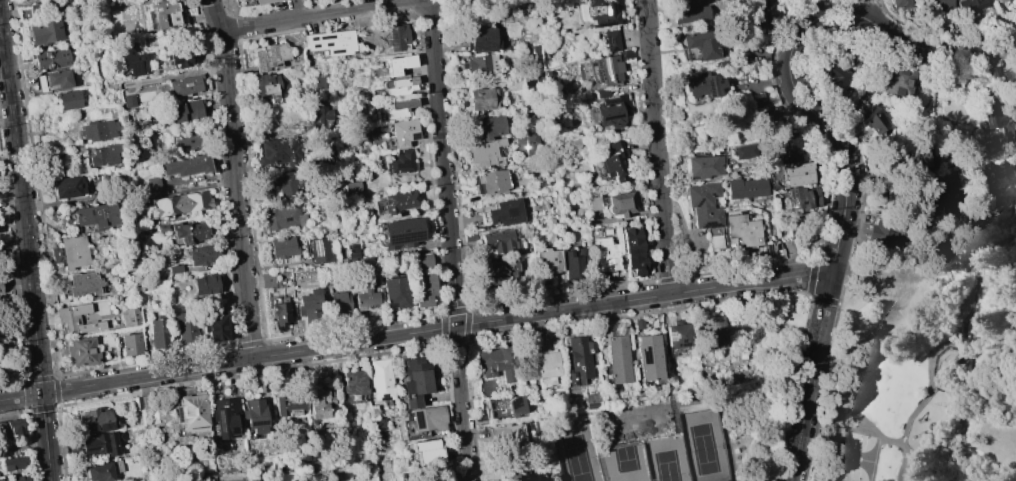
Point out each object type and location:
building: (998, 0)
rooftop solar panel: (588, 1)
building: (264, 2)
road: (434, 3)
building: (900, 4)
building: (938, 5)
building: (968, 6)
building: (38, 8)
road: (466, 10)
building: (688, 10)
road: (872, 10)
building: (600, 13)
road: (794, 13)
building: (163, 14)
building: (767, 14)
road: (216, 16)
road: (324, 16)
rooftop solar panel: (591, 22)
rooftop solar panel: (603, 25)
road: (433, 29)
building: (44, 31)
building: (398, 36)
rooftop solar panel: (311, 38)
rooftop solar panel: (324, 38)
building: (483, 39)
rooftop solar panel: (395, 40)
building: (611, 40)
building: (331, 42)
building: (700, 44)
rooftop solar panel: (316, 46)
rooftop solar panel: (336, 52)
building: (625, 55)
building: (271, 56)
building: (533, 56)
building: (178, 58)
building: (51, 59)
building: (134, 61)
rooftop solar panel: (598, 63)
building: (398, 64)
building: (482, 64)
rooftop solar panel: (605, 67)
rooftop solar panel: (136, 69)
building: (607, 70)
building: (834, 75)
rooftop solar panel: (599, 76)
rooftop solar panel: (608, 77)
building: (1009, 79)
building: (54, 80)
building: (322, 81)
building: (895, 84)
building: (185, 85)
building: (270, 85)
building: (701, 85)
building: (401, 86)
rooftop solar panel: (709, 90)
building: (601, 93)
building: (481, 99)
building: (67, 100)
building: (128, 101)
building: (396, 109)
rooftop solar panel: (994, 110)
building: (184, 111)
building: (610, 112)
building: (322, 114)
building: (871, 117)
rooftop solar panel: (610, 118)
rooftop solar panel: (986, 119)
building: (995, 119)
building: (488, 127)
building: (99, 130)
building: (403, 133)
road: (832, 135)
building: (184, 142)
building: (528, 143)
road: (657, 146)
building: (785, 148)
building: (280, 151)
building: (485, 154)
building: (105, 155)
building: (920, 158)
building: (401, 162)
building: (613, 163)
building: (186, 165)
building: (703, 166)
building: (977, 166)
building: (796, 174)
building: (493, 182)
building: (289, 183)
building: (154, 184)
building: (67, 187)
building: (746, 187)
road: (237, 195)
rooftop solar panel: (712, 195)
rooftop solar panel: (789, 195)
building: (800, 198)
building: (396, 202)
building: (181, 203)
building: (595, 203)
building: (622, 203)
rooftop solar panel: (698, 203)
rooftop solar panel: (801, 203)
building: (137, 204)
building: (703, 204)
rooftop solar panel: (792, 204)
building: (925, 207)
building: (504, 213)
building: (97, 215)
building: (284, 217)
rooftop solar panel: (709, 225)
building: (162, 227)
building: (743, 229)
building: (190, 232)
building: (401, 233)
building: (881, 234)
building: (469, 237)
rooftop solar panel: (400, 240)
building: (499, 241)
building: (283, 247)
road: (990, 247)
road: (26, 248)
rooftop solar panel: (318, 249)
building: (319, 250)
building: (632, 250)
building: (352, 251)
building: (73, 252)
building: (604, 254)
road: (969, 254)
building: (202, 255)
building: (423, 261)
building: (547, 261)
road: (1004, 263)
building: (570, 264)
road: (757, 264)
road: (453, 266)
building: (175, 269)
road: (892, 269)
building: (497, 272)
road: (811, 274)
road: (667, 277)
building: (267, 281)
building: (84, 283)
building: (206, 284)
building: (422, 288)
building: (0, 290)
building: (395, 291)
road: (561, 293)
building: (364, 299)
road: (823, 299)
building: (339, 303)
road: (885, 305)
road: (975, 305)
building: (310, 306)
road: (455, 309)
road: (659, 309)
building: (280, 313)
building: (129, 316)
building: (76, 319)
road: (781, 319)
road: (467, 323)
road: (960, 324)
road: (354, 326)
road: (444, 326)
building: (182, 327)
building: (214, 328)
building: (158, 331)
road: (434, 331)
building: (712, 332)
building: (678, 335)
rooftop solar panel: (670, 337)
road: (455, 340)
building: (131, 344)
road: (248, 344)
rooftop solar panel: (682, 345)
road: (981, 345)
rooftop solar panel: (677, 346)
building: (81, 351)
road: (827, 354)
road: (266, 356)
building: (648, 357)
building: (619, 359)
rooftop solar panel: (644, 359)
building: (580, 360)
road: (141, 361)
road: (234, 361)
building: (498, 365)
building: (545, 367)
park: (922, 369)
road: (249, 373)
road: (56, 377)
road: (40, 378)
road: (27, 380)
building: (380, 380)
road: (1013, 380)
building: (416, 381)
road: (25, 383)
building: (353, 384)
road: (56, 390)
road: (753, 391)
road: (19, 396)
road: (26, 396)
building: (592, 399)
road: (926, 399)
road: (57, 403)
building: (316, 404)
building: (287, 405)
rooftop solar panel: (514, 405)
road: (42, 407)
building: (507, 407)
road: (27, 410)
road: (451, 411)
building: (191, 413)
building: (254, 416)
road: (726, 417)
rooftop solar panel: (179, 418)
building: (226, 418)
road: (678, 418)
road: (995, 418)
building: (429, 419)
road: (1006, 419)
building: (94, 421)
rooftop solar panel: (418, 421)
park: (688, 421)
rooftop solar panel: (221, 423)
road: (872, 424)
building: (13, 426)
building: (736, 427)
building: (508, 437)
building: (100, 443)
park: (705, 446)
park: (579, 451)
building: (427, 452)
road: (908, 453)
park: (856, 457)
park: (668, 460)
road: (1004, 462)
building: (14, 463)
park: (626, 463)
road: (973, 468)
road: (986, 468)
building: (102, 470)
road: (930, 471)
building: (512, 474)
building: (19, 478)
building: (3, 479)
road: (908, 479)
road: (949, 480)

